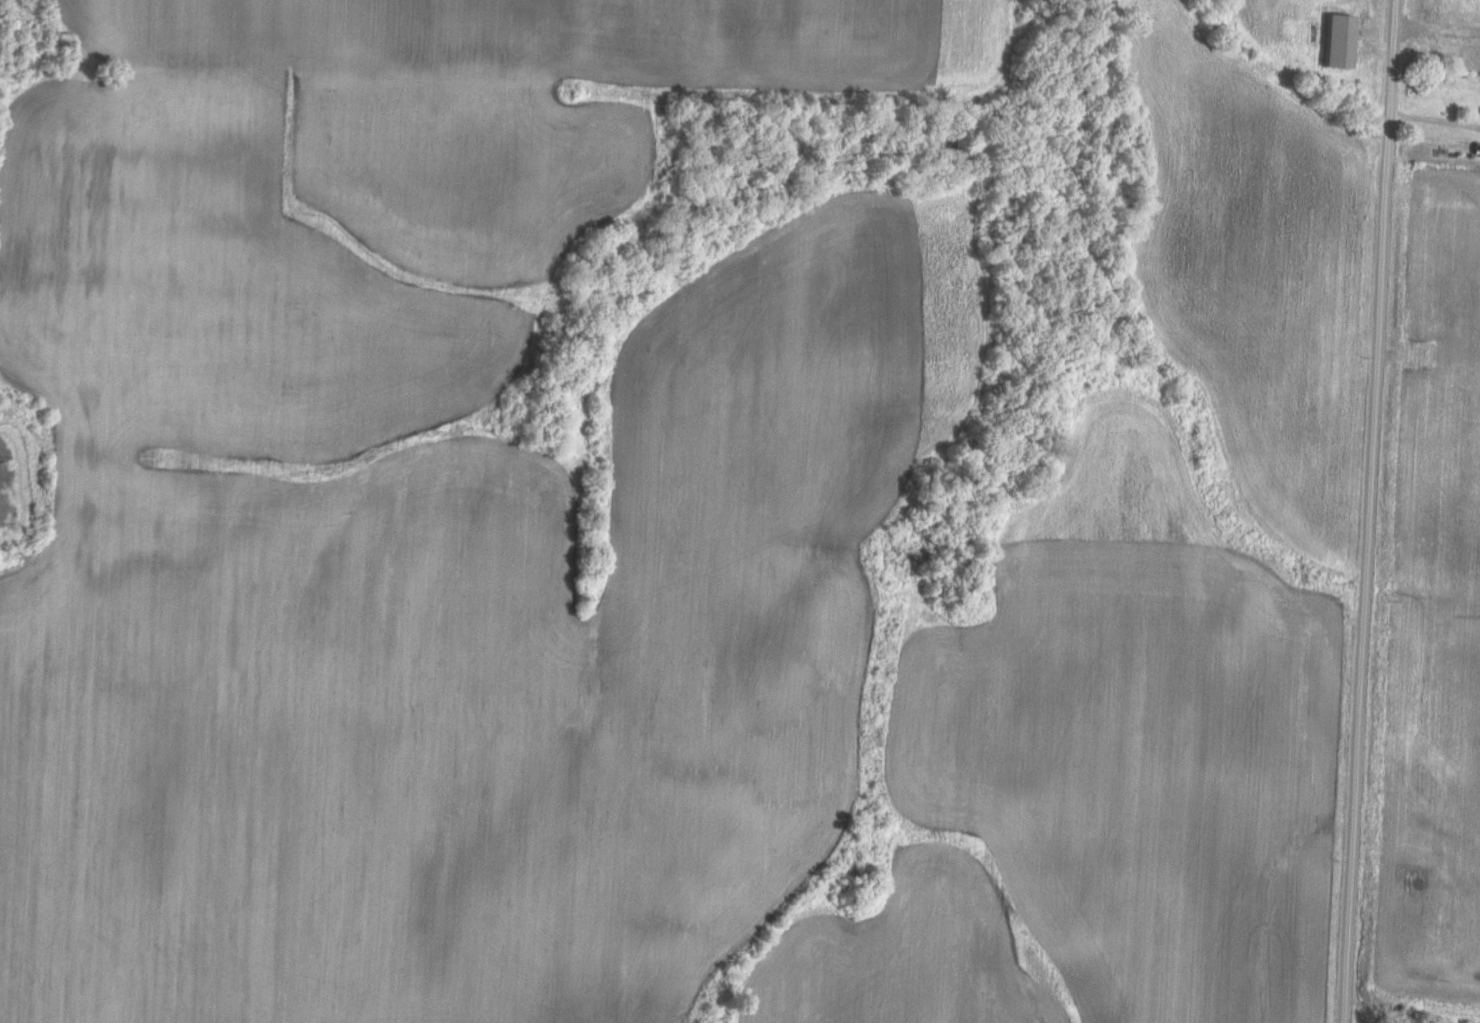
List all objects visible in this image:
road: (1437, 119)
road: (1372, 511)

